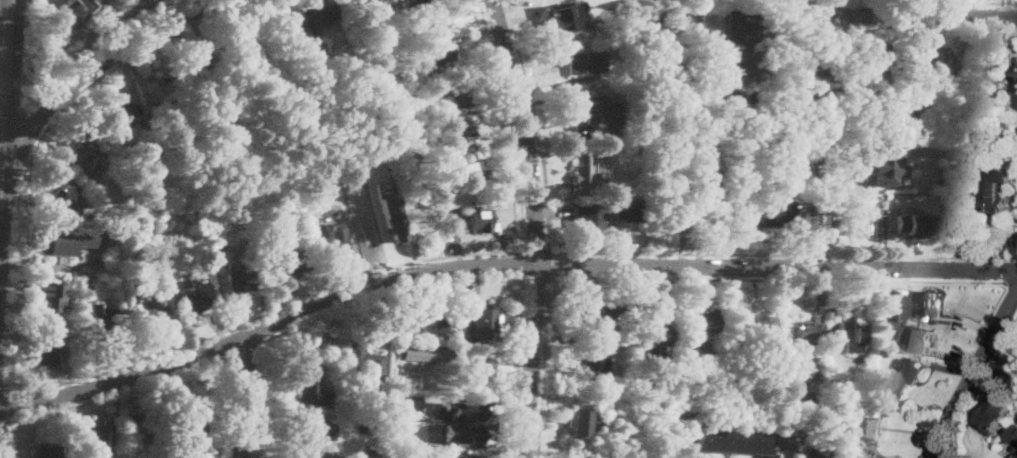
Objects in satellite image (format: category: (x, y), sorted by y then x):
building: (378, 0)
building: (749, 1)
building: (417, 3)
building: (728, 3)
building: (75, 11)
building: (323, 13)
road: (916, 15)
building: (568, 17)
building: (404, 24)
building: (650, 25)
building: (293, 26)
building: (435, 28)
building: (743, 28)
building: (627, 46)
building: (322, 50)
building: (234, 51)
road: (25, 57)
building: (444, 57)
building: (695, 57)
building: (884, 58)
building: (588, 62)
building: (934, 62)
building: (747, 63)
road: (95, 66)
building: (197, 70)
road: (4, 76)
building: (992, 79)
building: (157, 82)
building: (225, 93)
building: (164, 94)
building: (405, 94)
building: (450, 95)
building: (740, 103)
building: (123, 114)
building: (880, 114)
building: (581, 123)
road: (509, 124)
road: (536, 124)
road: (684, 127)
building: (647, 130)
building: (455, 132)
building: (909, 132)
road: (27, 133)
building: (1016, 133)
road: (813, 134)
building: (1002, 137)
road: (37, 145)
building: (640, 145)
building: (423, 151)
building: (1011, 153)
building: (152, 156)
building: (81, 157)
building: (898, 157)
building: (676, 166)
building: (883, 167)
building: (474, 172)
building: (585, 177)
building: (718, 193)
building: (636, 196)
building: (432, 199)
building: (62, 200)
building: (111, 200)
building: (905, 201)
building: (995, 203)
building: (669, 207)
building: (632, 211)
building: (770, 212)
building: (482, 219)
building: (588, 219)
building: (855, 223)
building: (915, 223)
road: (536, 226)
building: (377, 228)
building: (217, 242)
building: (334, 243)
building: (56, 245)
road: (537, 252)
road: (676, 255)
road: (814, 256)
road: (921, 256)
building: (56, 263)
road: (550, 264)
road: (627, 264)
building: (287, 265)
road: (524, 265)
building: (90, 268)
road: (537, 278)
road: (775, 280)
building: (238, 282)
road: (1009, 282)
building: (89, 285)
road: (420, 287)
building: (49, 296)
building: (195, 297)
building: (927, 303)
road: (264, 312)
building: (153, 315)
building: (594, 317)
building: (892, 317)
building: (102, 319)
building: (416, 319)
building: (475, 324)
building: (702, 324)
building: (922, 328)
building: (850, 331)
building: (750, 333)
building: (654, 335)
building: (802, 335)
building: (443, 337)
building: (883, 341)
road: (248, 349)
building: (48, 350)
building: (883, 353)
building: (427, 354)
building: (590, 359)
building: (366, 363)
road: (543, 367)
building: (475, 369)
road: (975, 371)
road: (126, 375)
building: (902, 376)
building: (309, 381)
road: (978, 388)
road: (122, 391)
road: (246, 395)
building: (409, 396)
building: (330, 399)
building: (784, 400)
road: (6, 405)
road: (233, 406)
building: (462, 411)
building: (996, 411)
road: (740, 414)
building: (810, 414)
building: (580, 422)
building: (142, 424)
building: (868, 427)
building: (463, 433)
building: (192, 434)
building: (314, 435)
building: (1013, 435)
building: (101, 436)
road: (4, 438)
building: (731, 443)
building: (48, 451)
building: (373, 453)
building: (823, 453)
road: (939, 455)
building: (421, 457)
building: (472, 457)

